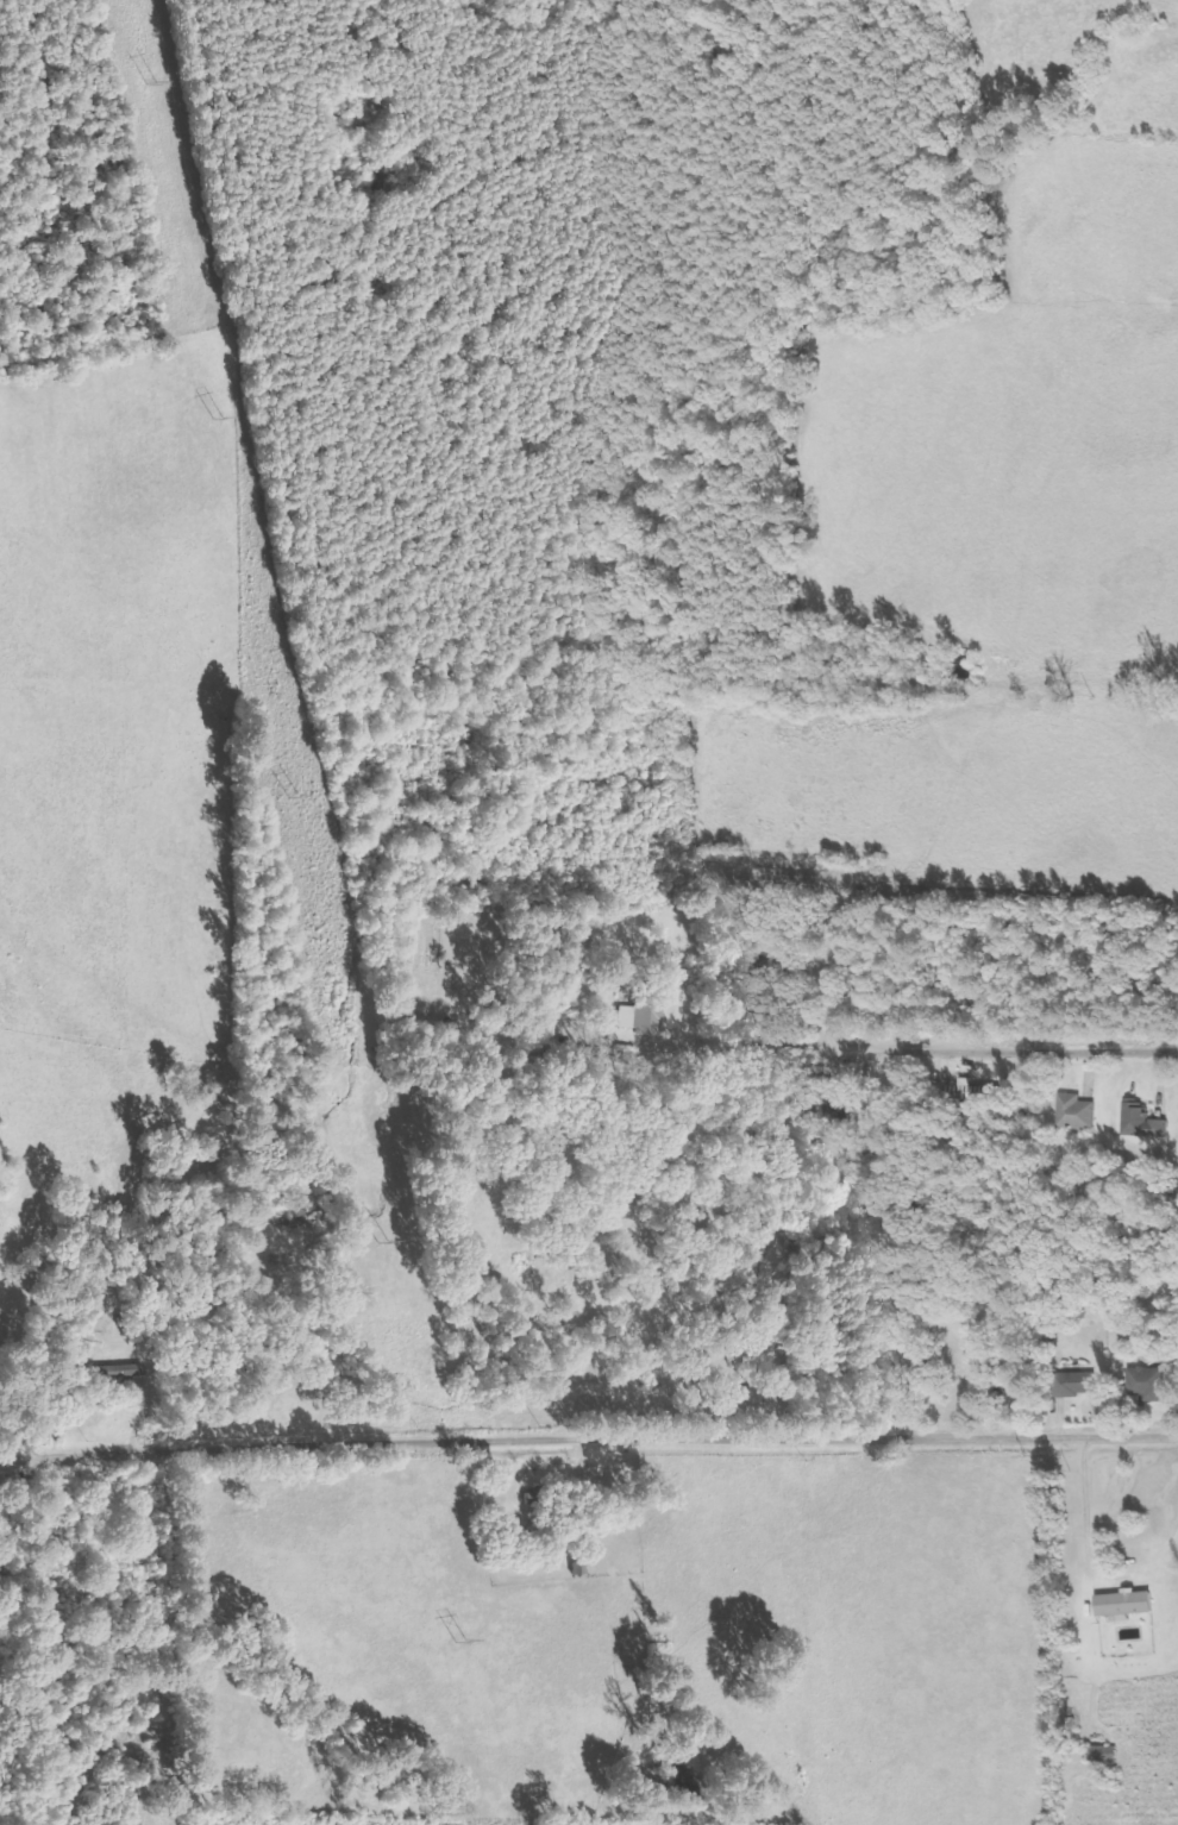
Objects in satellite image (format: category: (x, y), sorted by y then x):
power tower: (168, 81)
power tower: (223, 420)
power tower: (295, 796)
building: (647, 1010)
road: (1023, 1053)
building: (1079, 1112)
building: (1147, 1122)
power tower: (389, 1240)
building: (990, 1348)
building: (1083, 1384)
building: (1153, 1384)
road: (588, 1436)
building: (1129, 1605)
power tower: (465, 1641)

